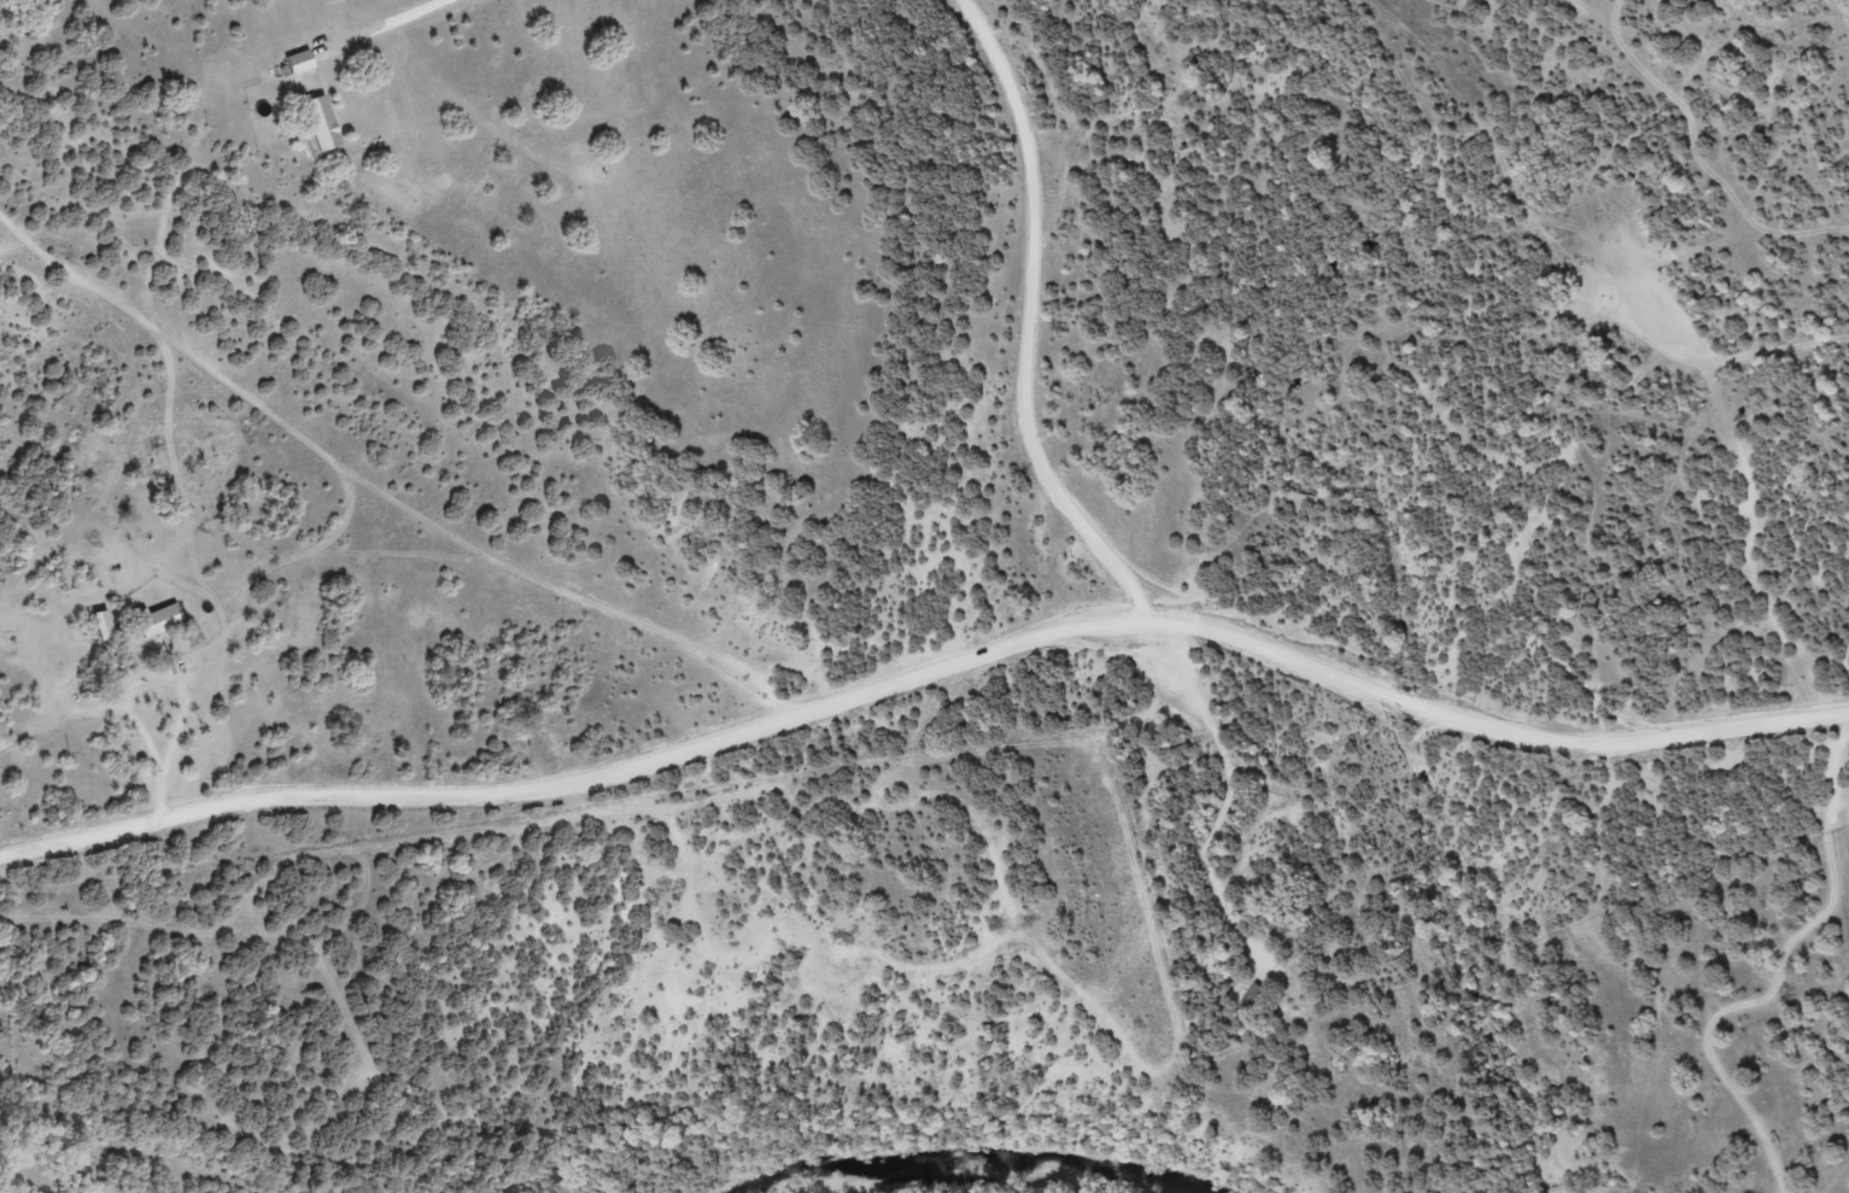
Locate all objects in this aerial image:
building: (298, 62)
building: (321, 122)
road: (1020, 321)
road: (387, 497)
building: (159, 621)
road: (924, 679)
road: (763, 853)

